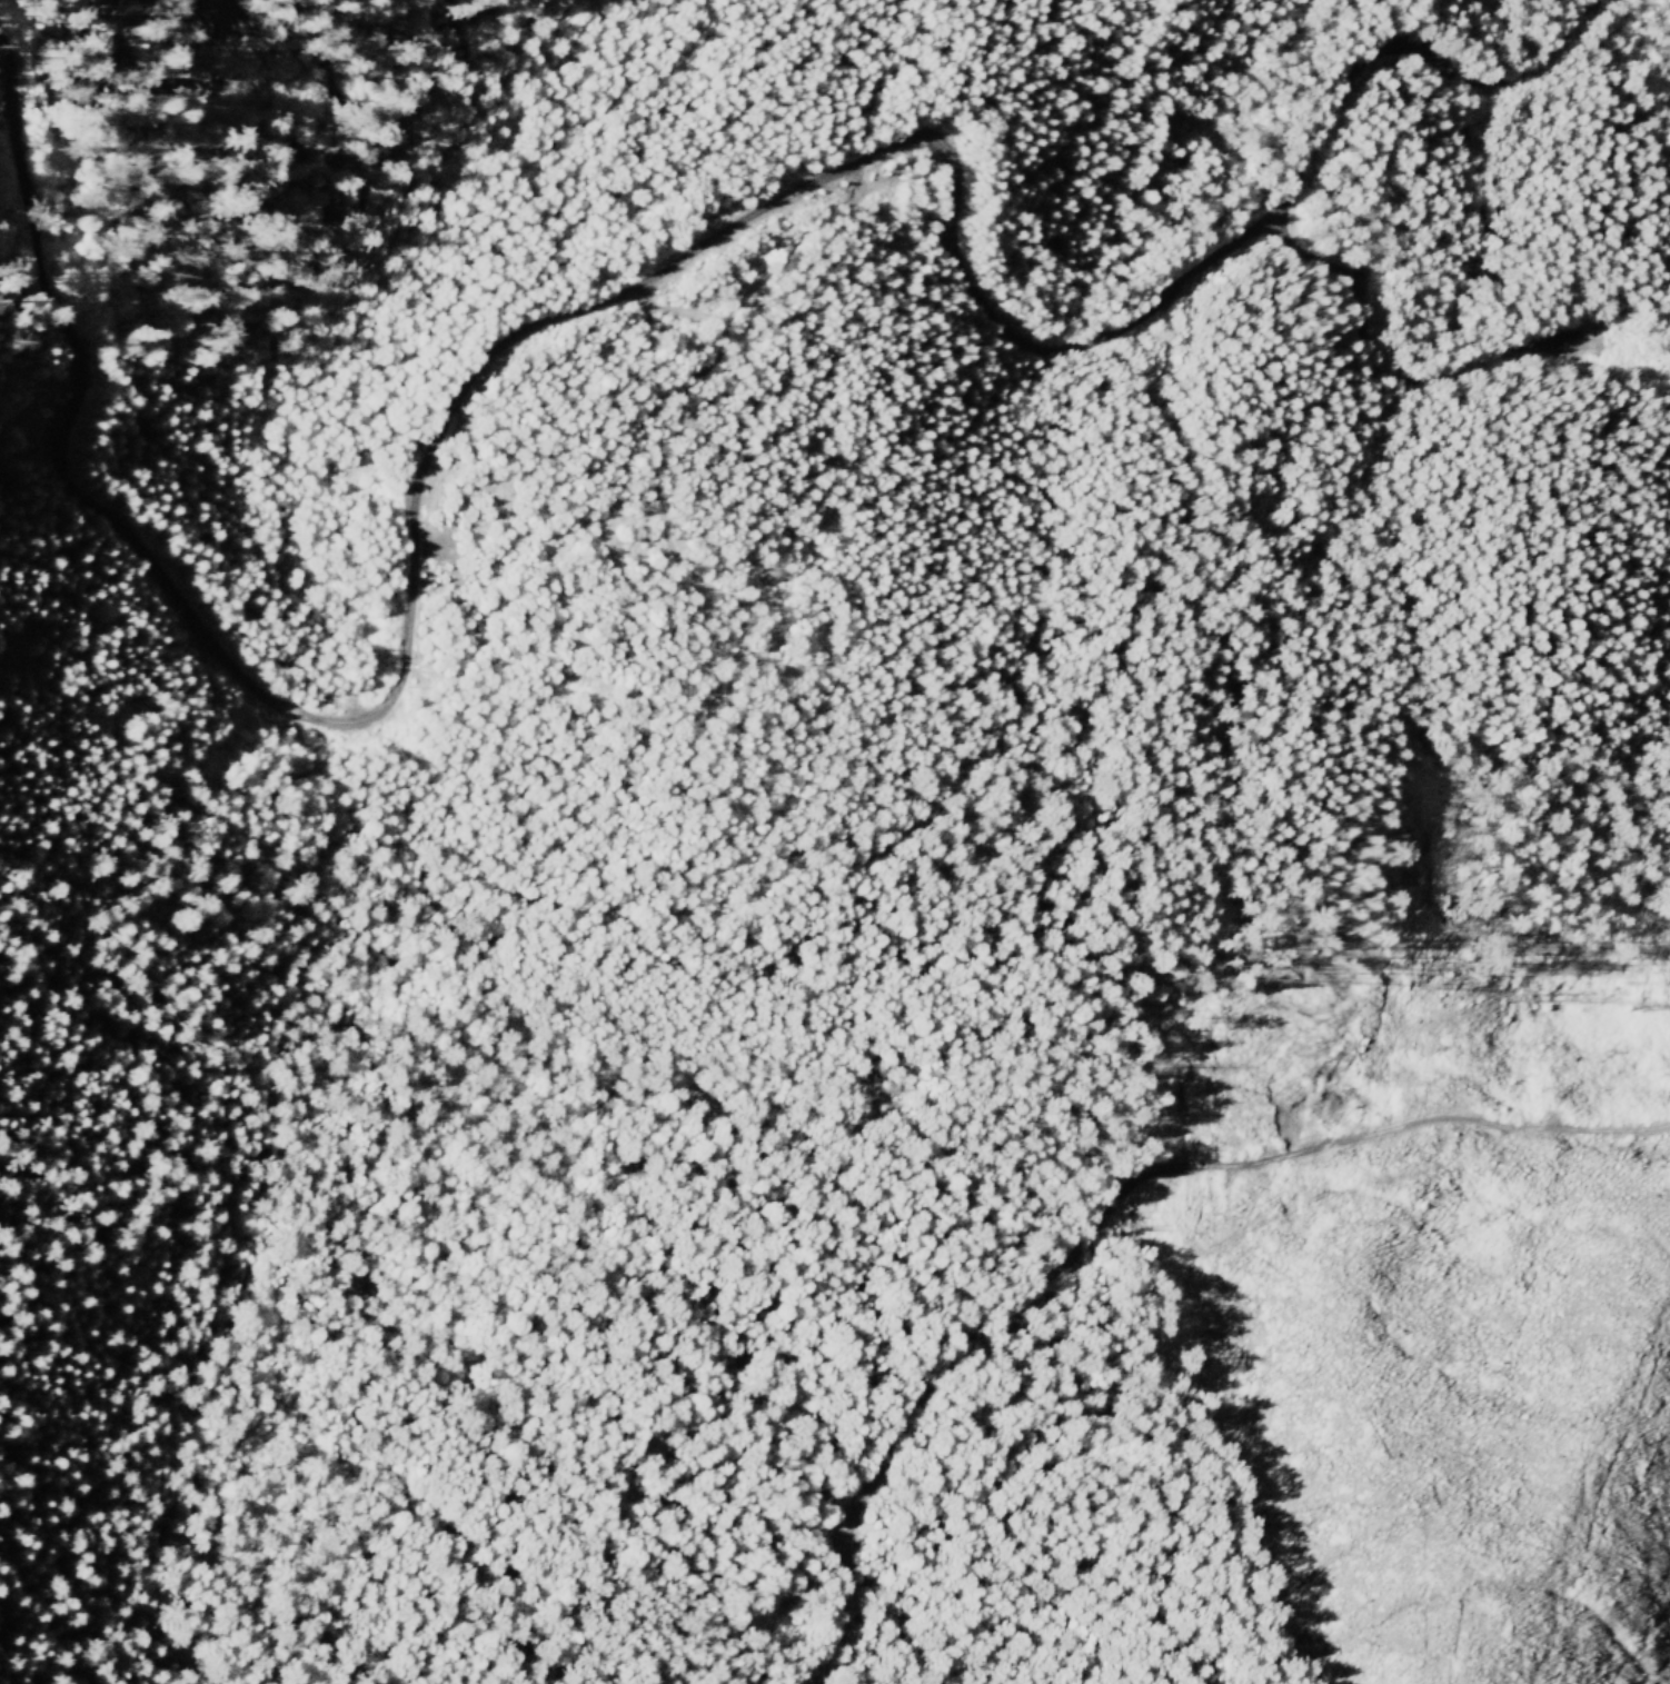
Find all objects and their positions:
road: (759, 285)
road: (599, 307)
road: (1365, 338)
road: (1111, 1216)

